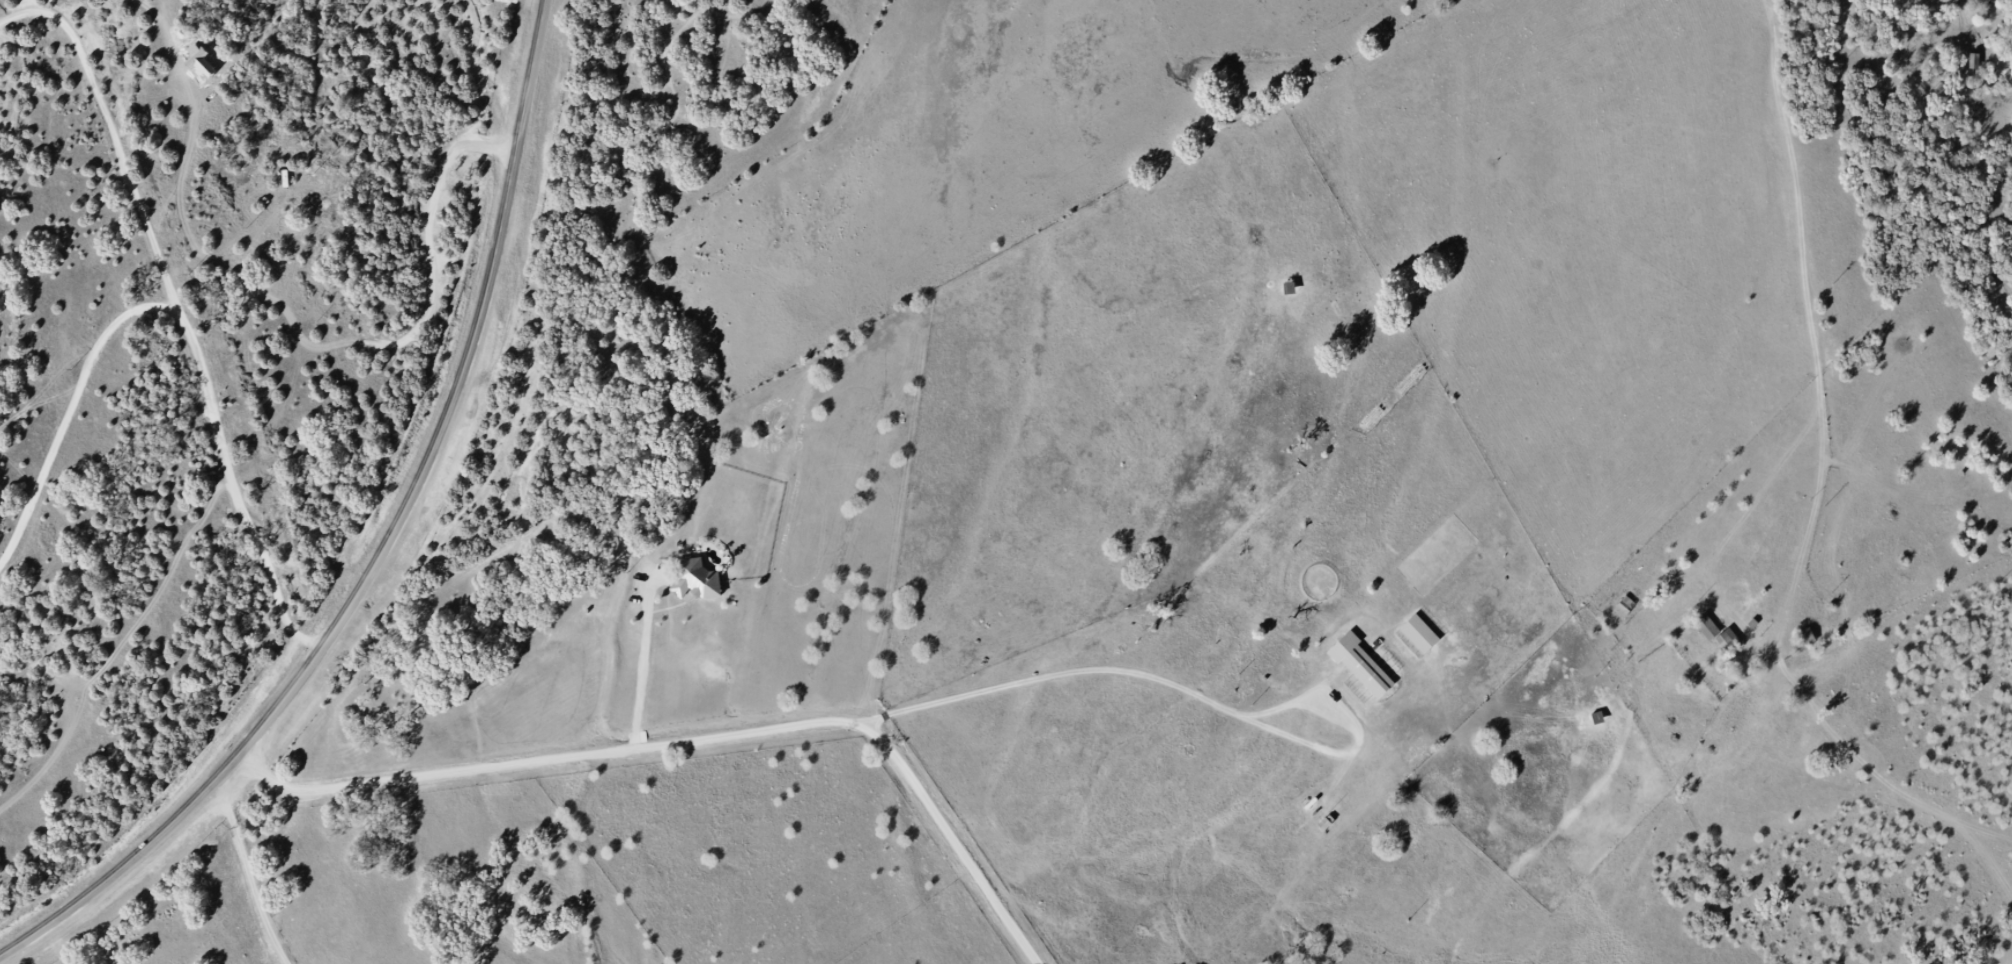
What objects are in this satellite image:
building: (1290, 289)
road: (391, 547)
building: (704, 584)
building: (1637, 595)
building: (1708, 629)
building: (1420, 635)
building: (1810, 639)
building: (1728, 641)
road: (649, 658)
building: (1362, 667)
building: (1598, 719)
road: (699, 739)
road: (256, 871)

